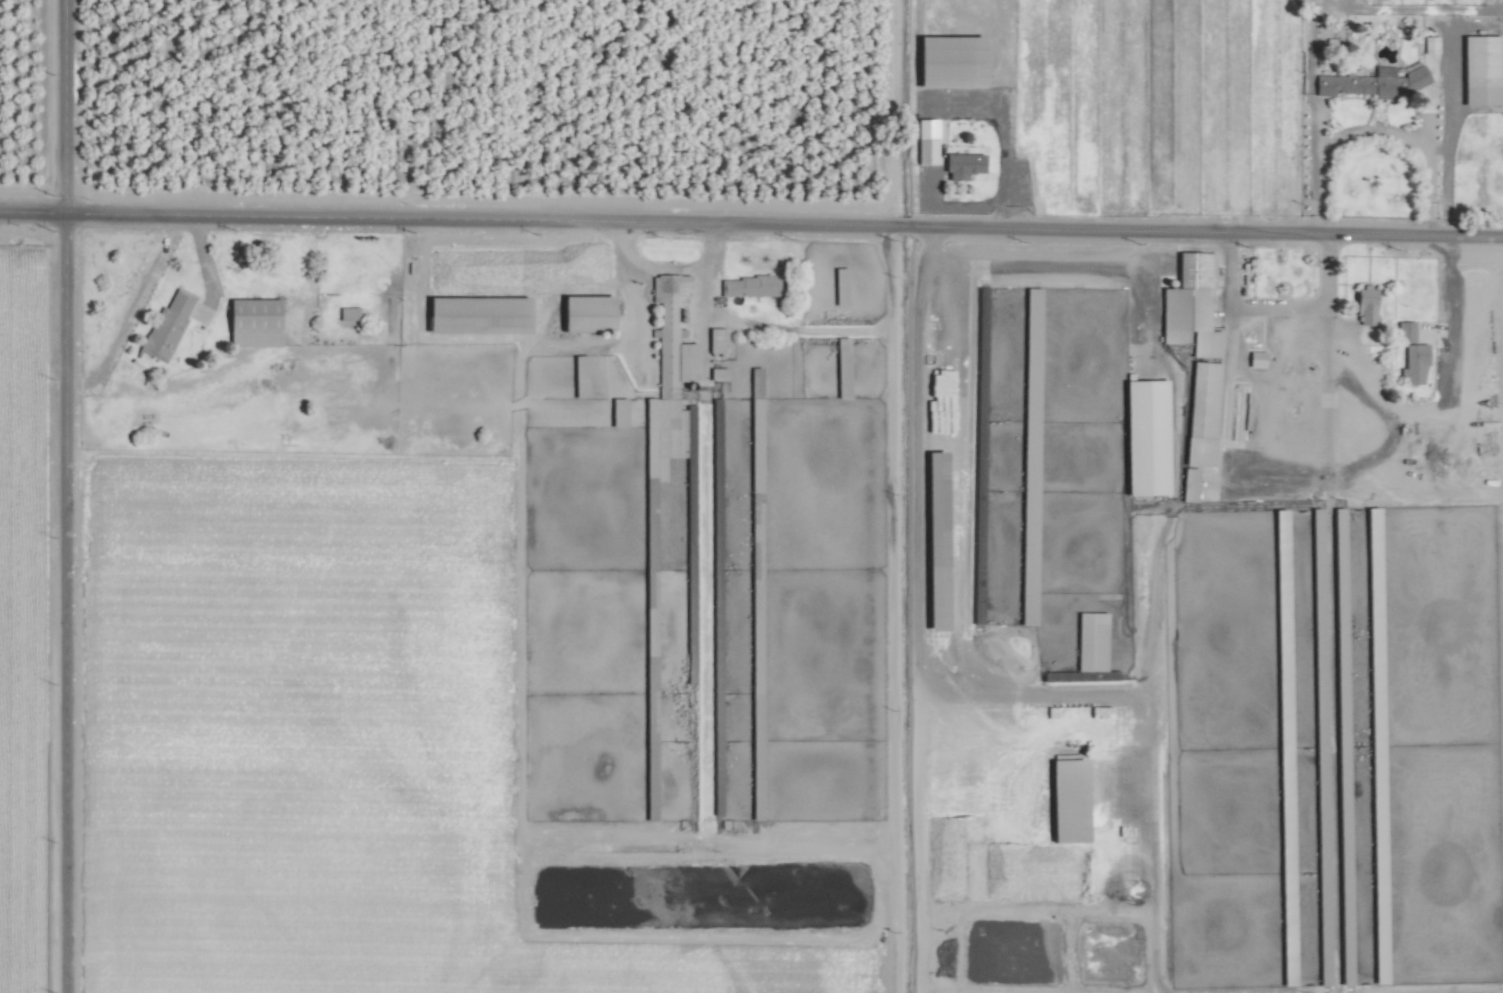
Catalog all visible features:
building: (1430, 43)
building: (957, 63)
building: (1479, 71)
building: (1373, 82)
road: (1379, 131)
building: (923, 142)
road: (751, 225)
building: (746, 286)
building: (1188, 304)
building: (1363, 305)
road: (1281, 307)
building: (1030, 311)
building: (352, 313)
building: (583, 313)
building: (260, 315)
building: (170, 326)
building: (715, 340)
building: (1410, 353)
building: (1254, 359)
building: (578, 376)
building: (616, 412)
building: (1143, 437)
road: (67, 496)
crop: (751, 496)
crop: (937, 567)
building: (1089, 641)
building: (1065, 799)
road: (1150, 882)

